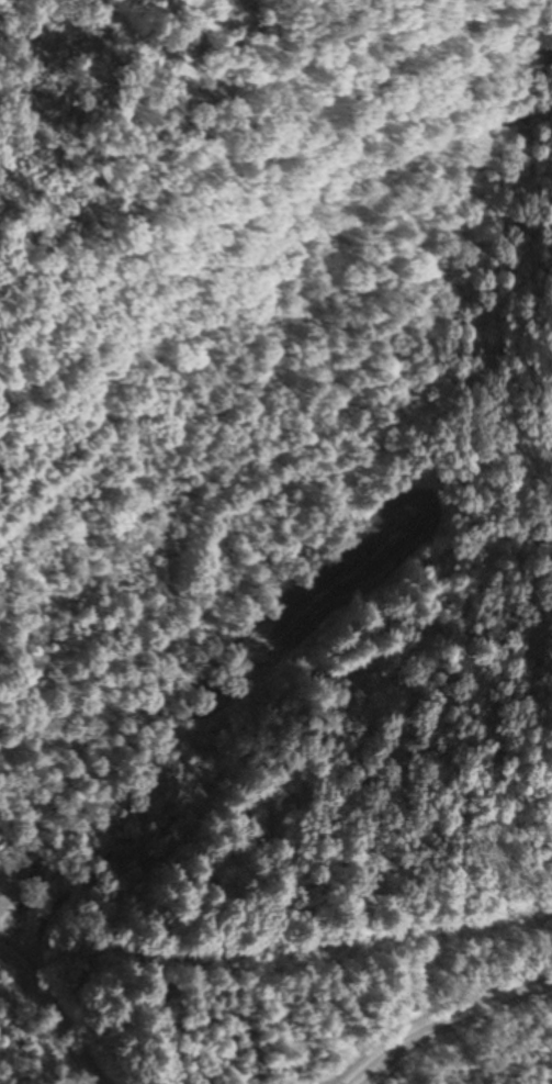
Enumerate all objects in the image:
road: (55, 1021)
road: (451, 1038)

